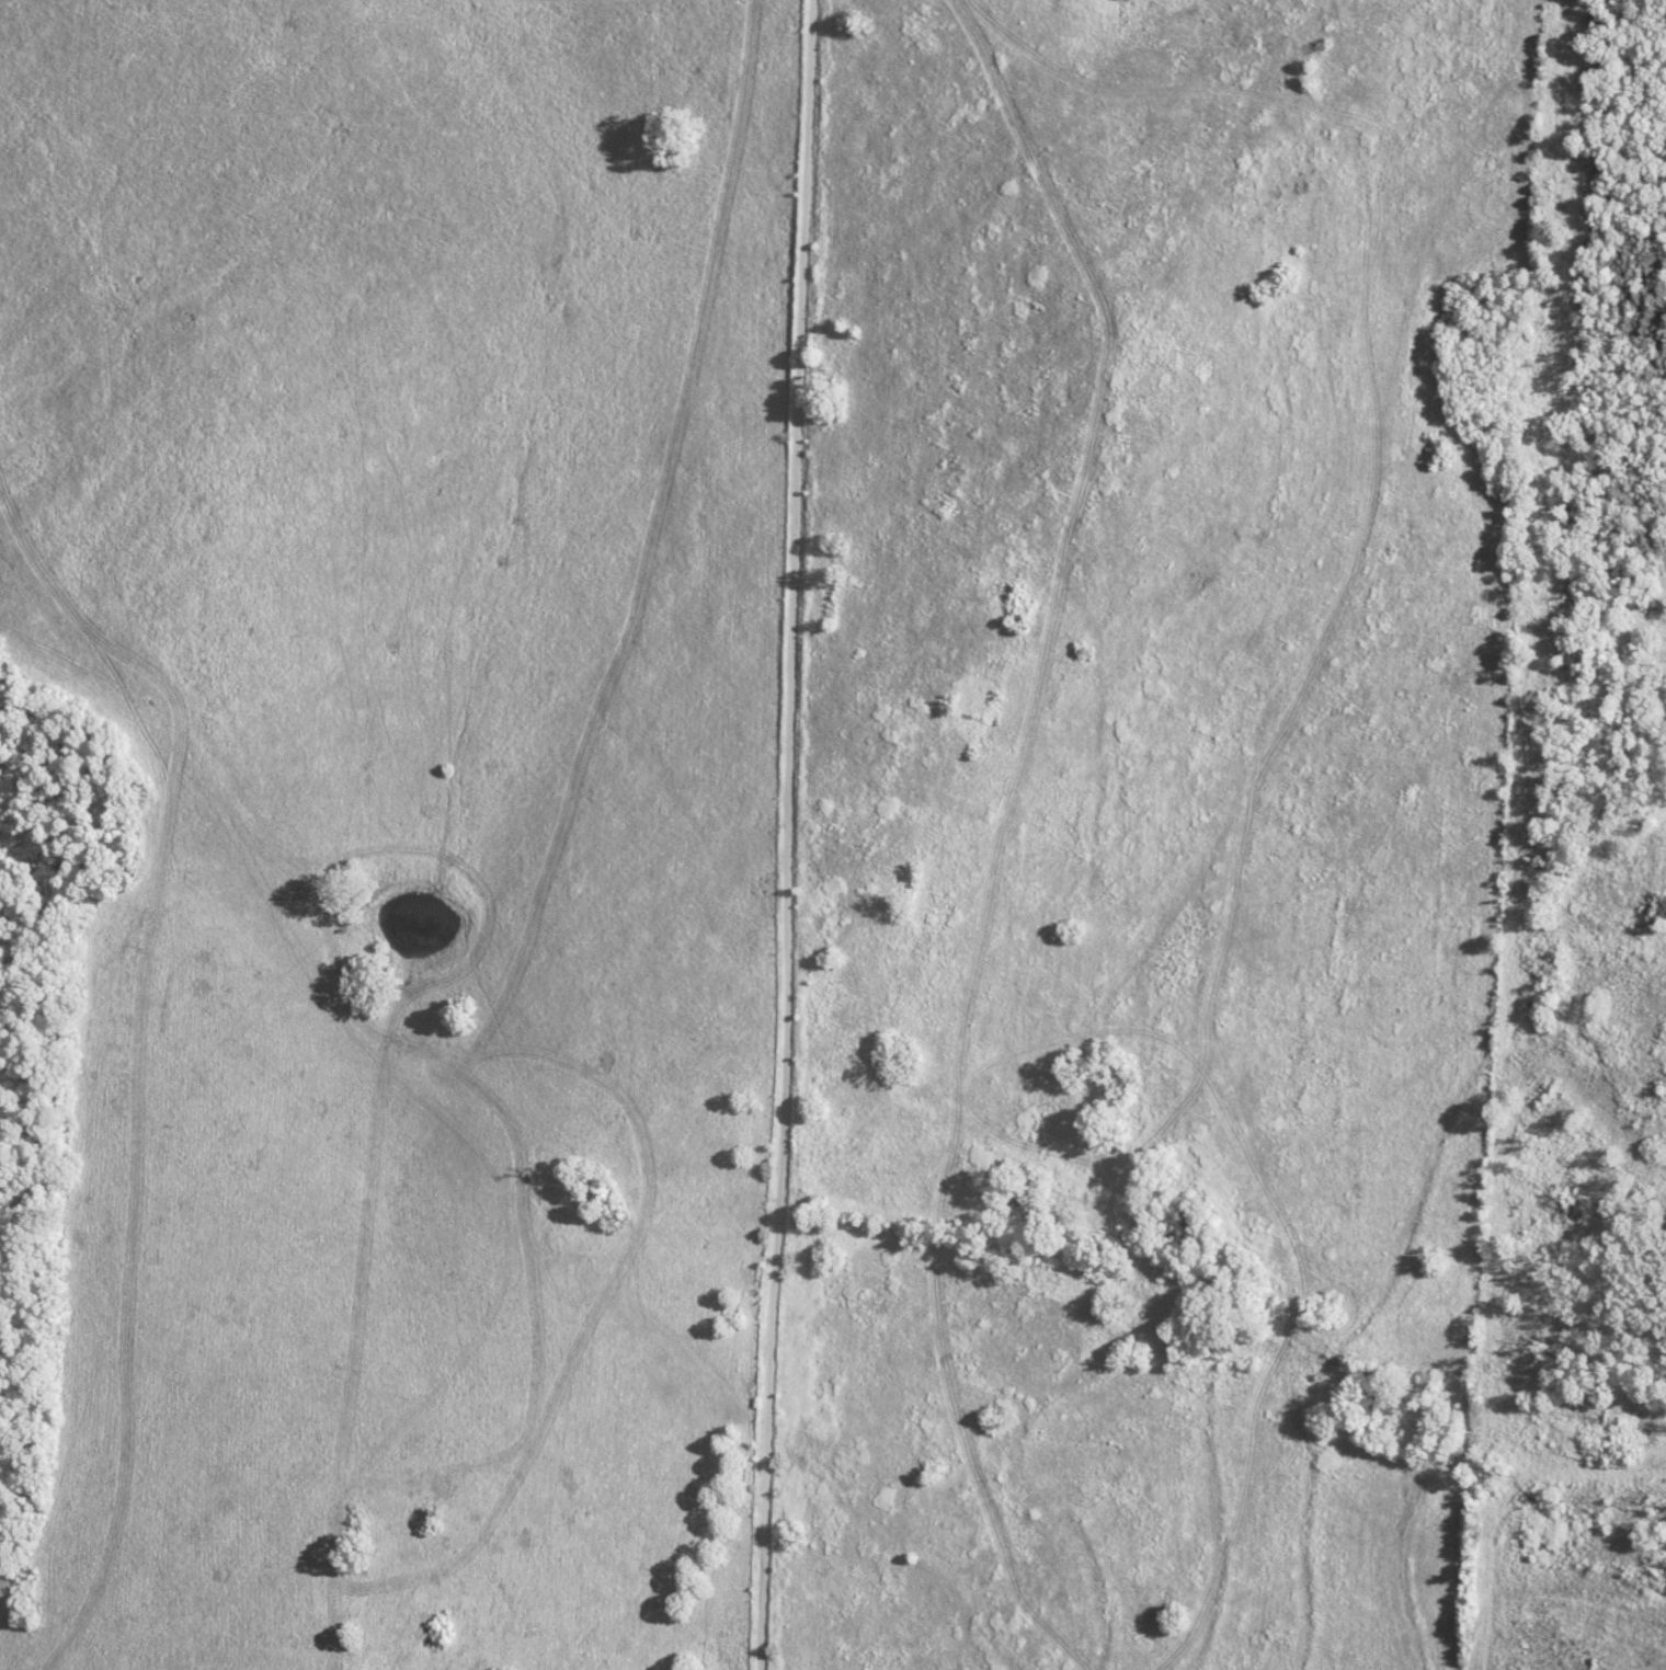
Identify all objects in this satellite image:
road: (789, 835)

